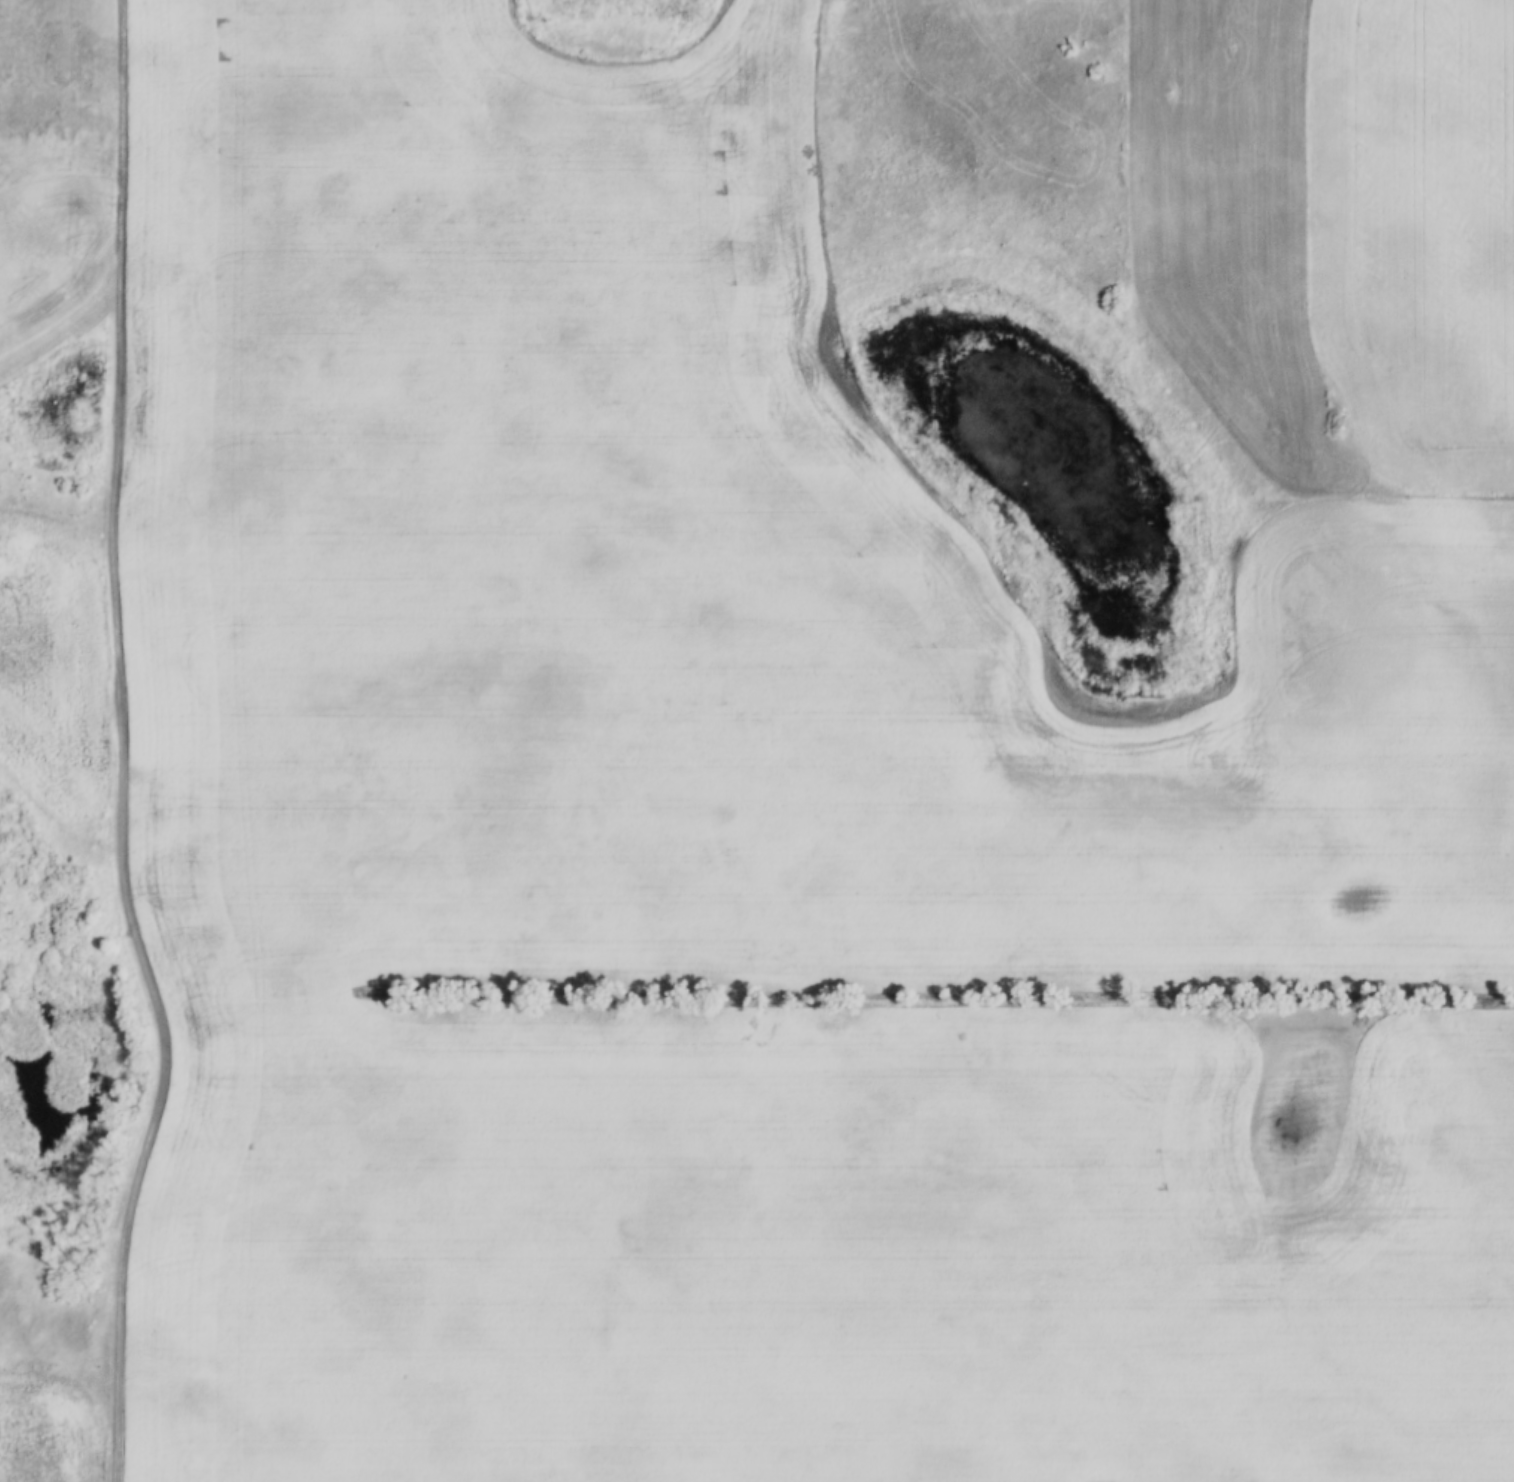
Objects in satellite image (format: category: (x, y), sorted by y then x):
road: (117, 747)

